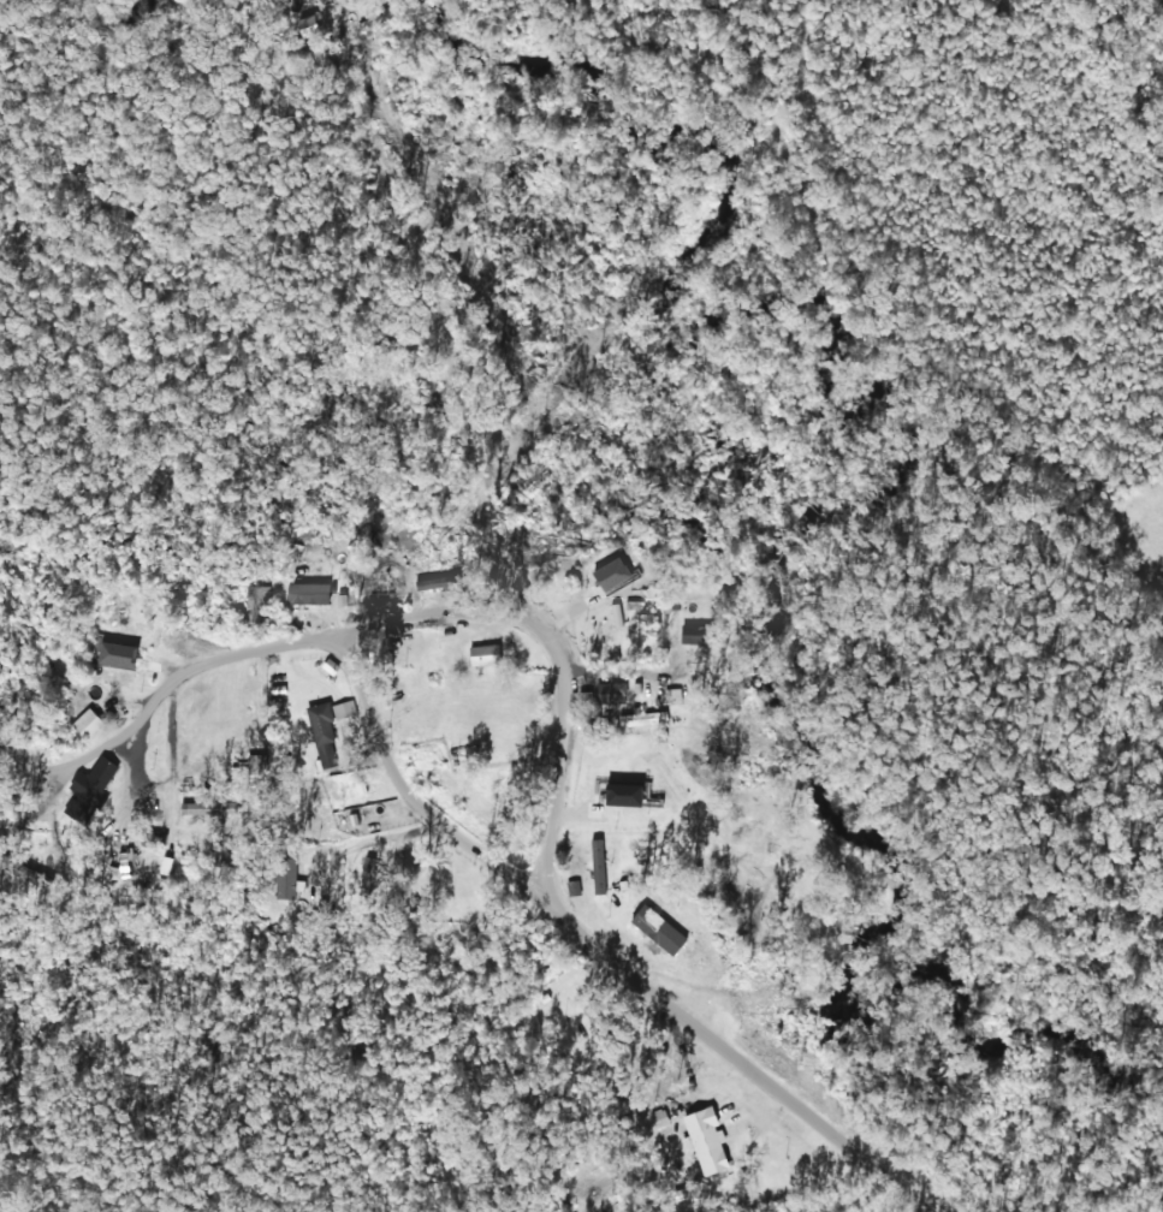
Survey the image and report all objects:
road: (1122, 94)
road: (547, 537)
building: (611, 571)
building: (428, 583)
building: (308, 593)
road: (224, 596)
building: (254, 601)
building: (692, 634)
road: (372, 644)
building: (485, 654)
building: (114, 669)
building: (610, 693)
building: (344, 709)
building: (634, 720)
building: (87, 723)
building: (321, 726)
road: (595, 744)
road: (243, 783)
building: (89, 790)
building: (611, 796)
building: (598, 867)
building: (368, 871)
building: (22, 872)
building: (284, 884)
building: (572, 887)
road: (588, 955)
road: (492, 1014)
building: (707, 1141)

